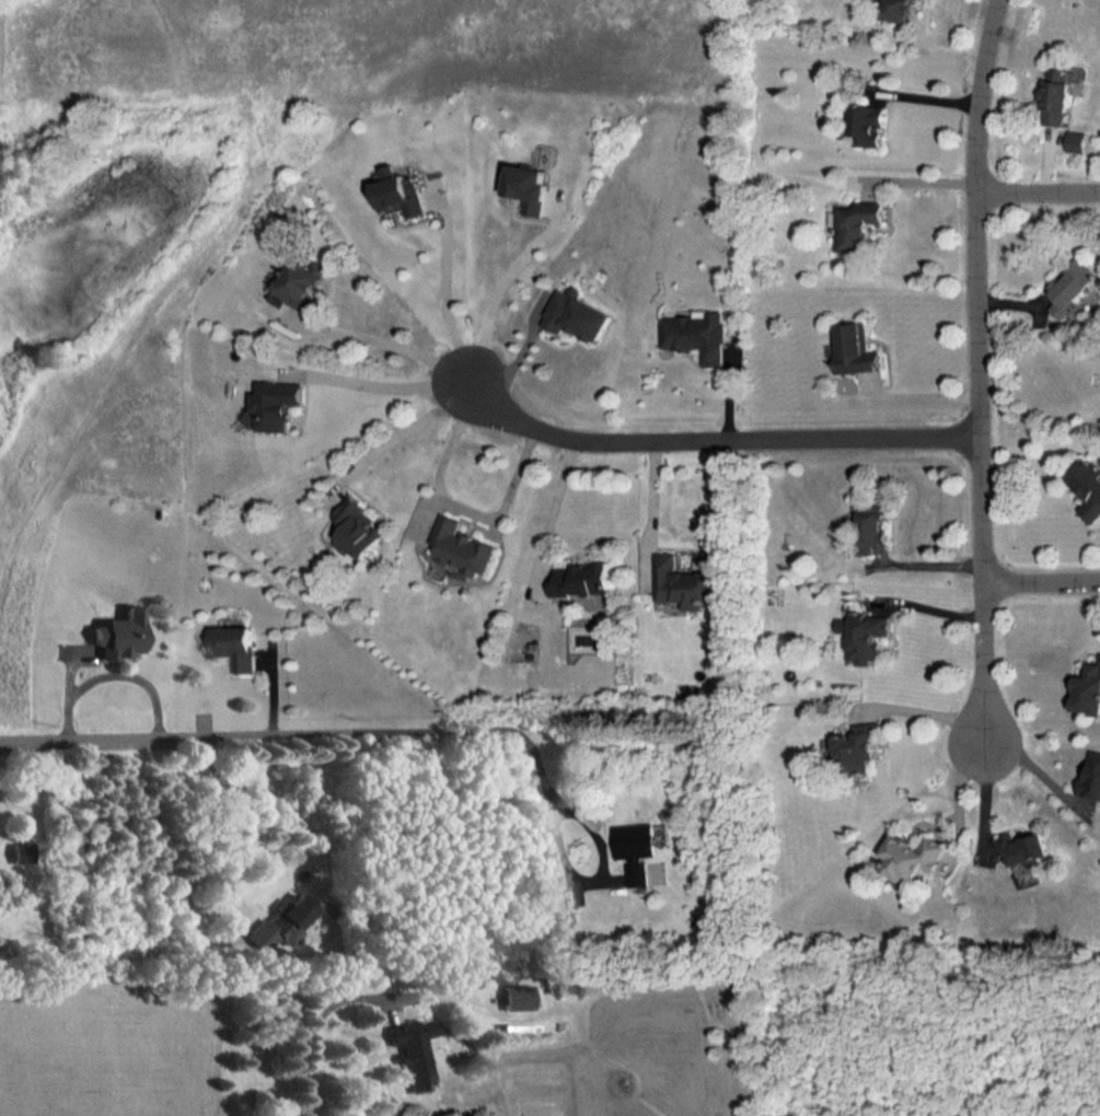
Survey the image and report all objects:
building: (899, 10)
building: (1054, 95)
building: (867, 125)
building: (1075, 140)
road: (913, 179)
building: (528, 187)
building: (401, 193)
road: (1039, 195)
building: (856, 223)
road: (451, 282)
building: (302, 283)
building: (1072, 287)
road: (505, 305)
building: (576, 314)
road: (397, 335)
building: (695, 335)
building: (855, 348)
road: (981, 370)
road: (392, 373)
building: (277, 403)
road: (407, 420)
road: (716, 430)
road: (517, 476)
building: (1088, 486)
road: (656, 487)
road: (559, 495)
building: (871, 524)
building: (357, 527)
building: (461, 546)
building: (581, 578)
building: (685, 583)
road: (1042, 583)
road: (925, 606)
building: (120, 633)
building: (864, 635)
building: (234, 646)
road: (113, 673)
building: (1088, 689)
road: (918, 709)
road: (522, 737)
road: (176, 739)
building: (857, 746)
road: (1037, 758)
building: (1091, 778)
road: (232, 809)
building: (1023, 848)
building: (636, 849)
building: (23, 852)
building: (912, 856)
building: (281, 921)
building: (517, 996)
road: (315, 1020)
building: (414, 1050)

